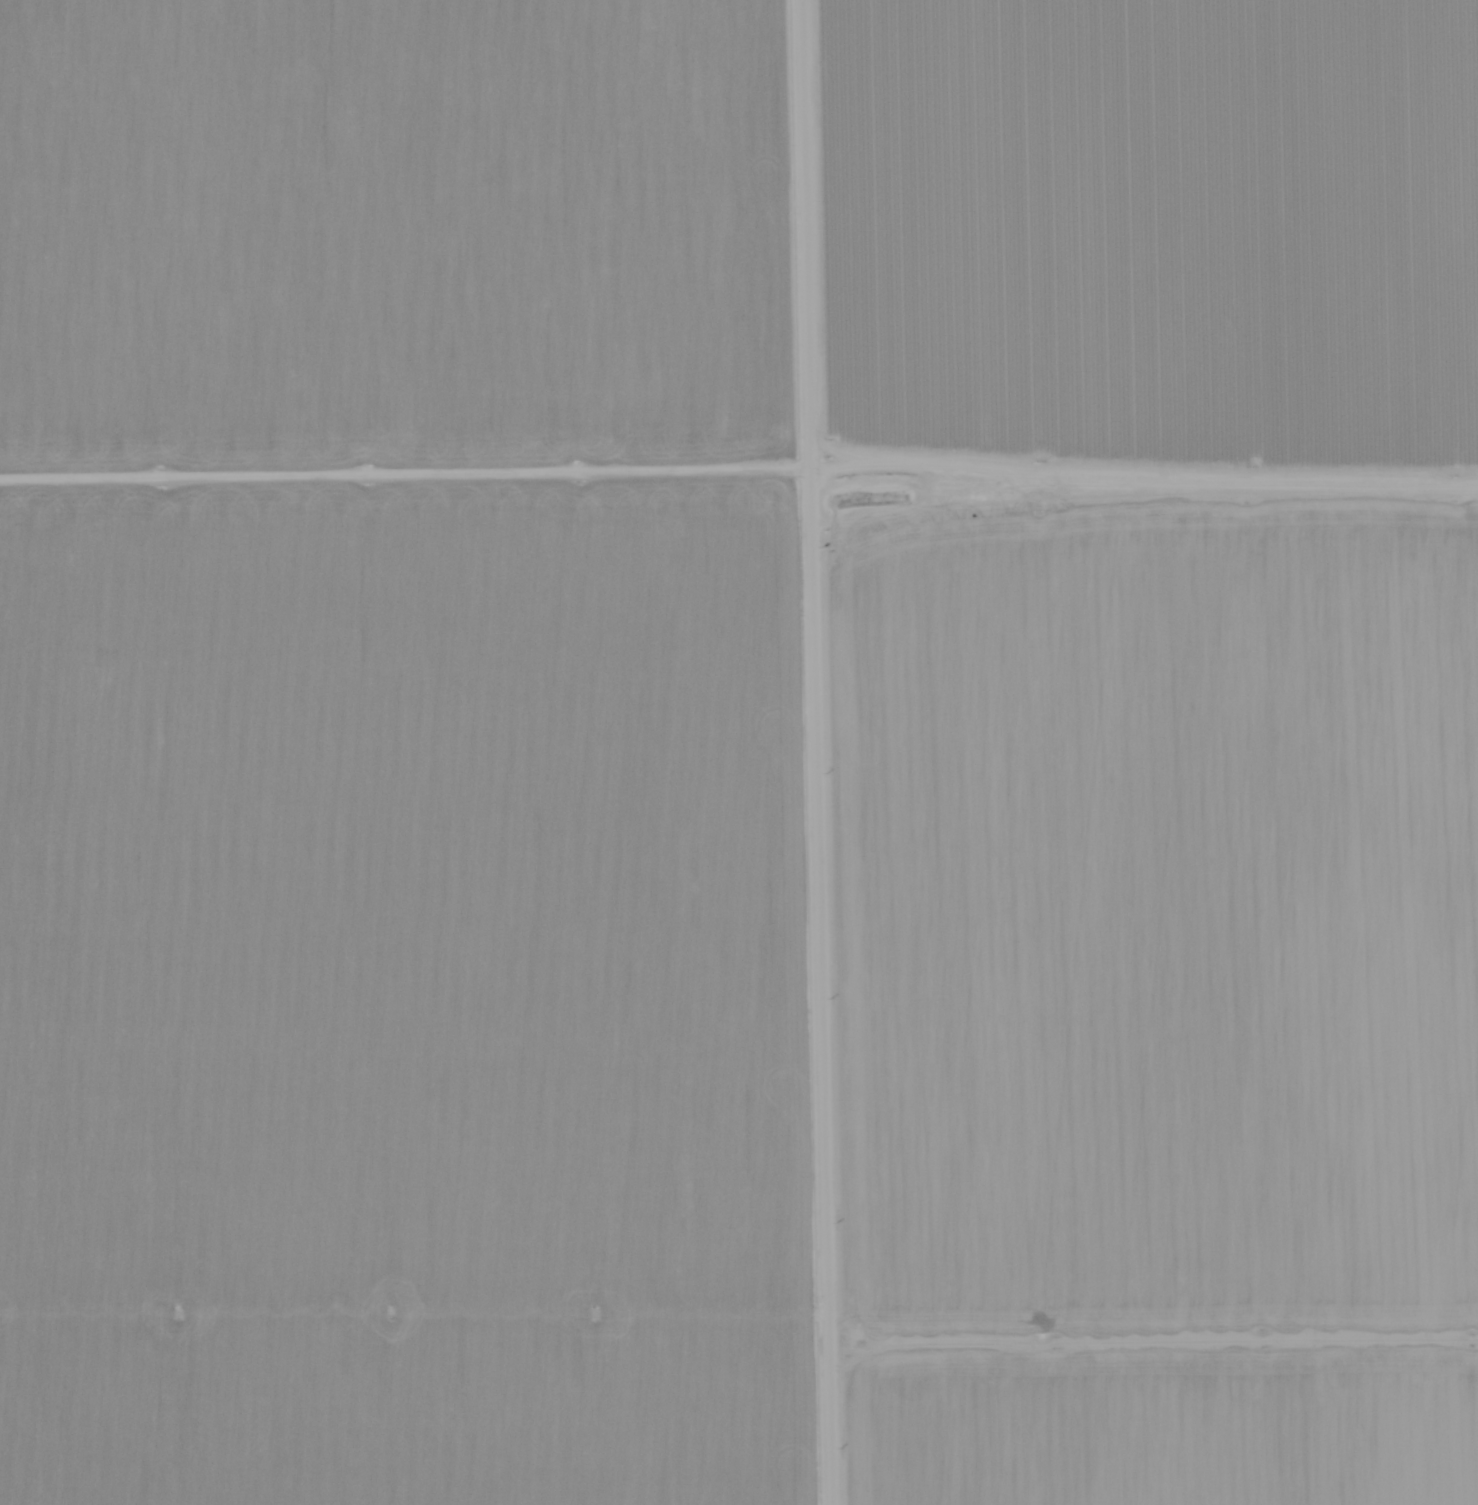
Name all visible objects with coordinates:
crop: (1161, 252)
crop: (423, 256)
road: (822, 752)
crop: (1167, 1003)
crop: (428, 1009)

